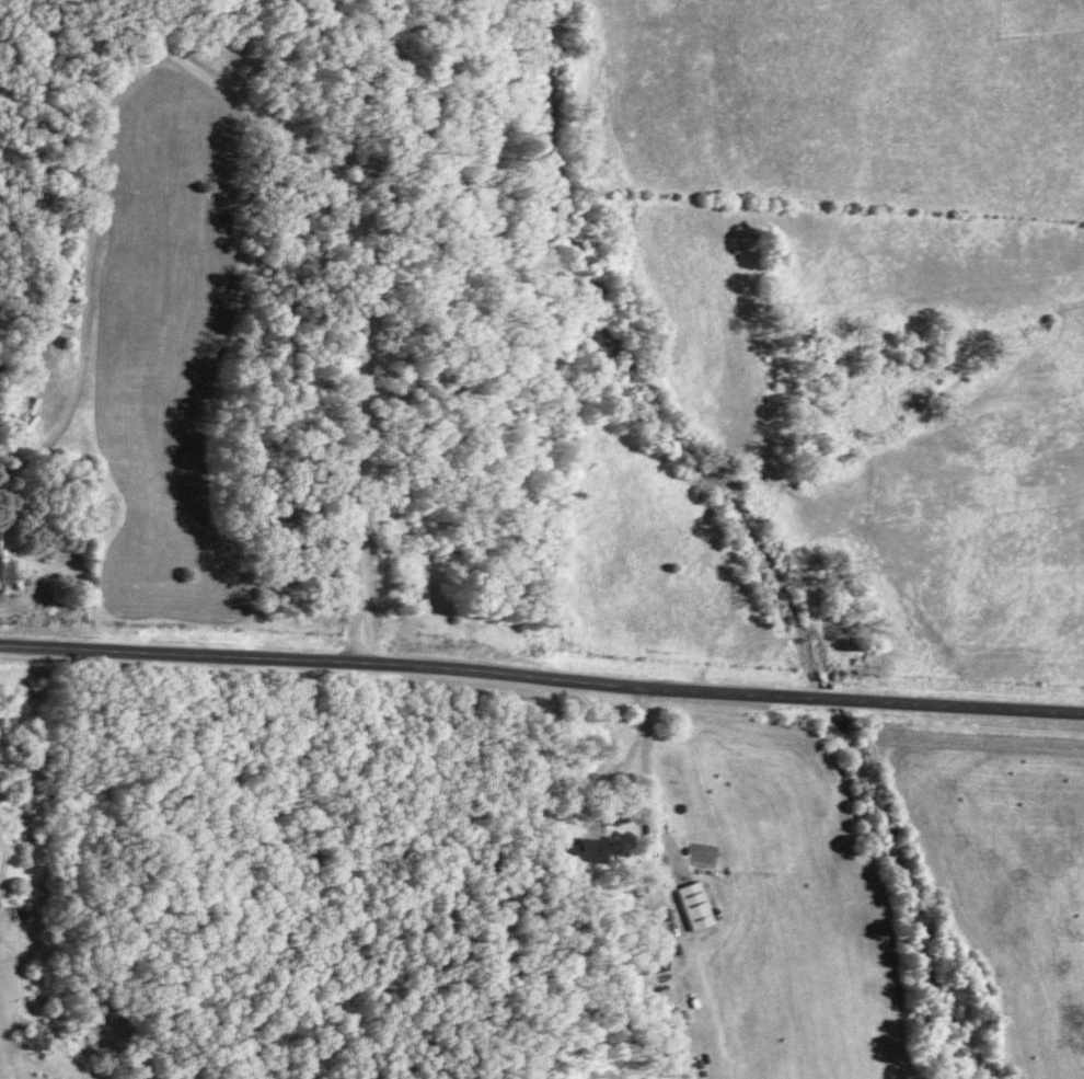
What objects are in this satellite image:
road: (1025, 353)
road: (358, 397)
building: (8, 573)
road: (542, 674)
building: (659, 822)
building: (589, 849)
building: (700, 904)
building: (660, 962)
building: (679, 1023)
building: (38, 1034)

